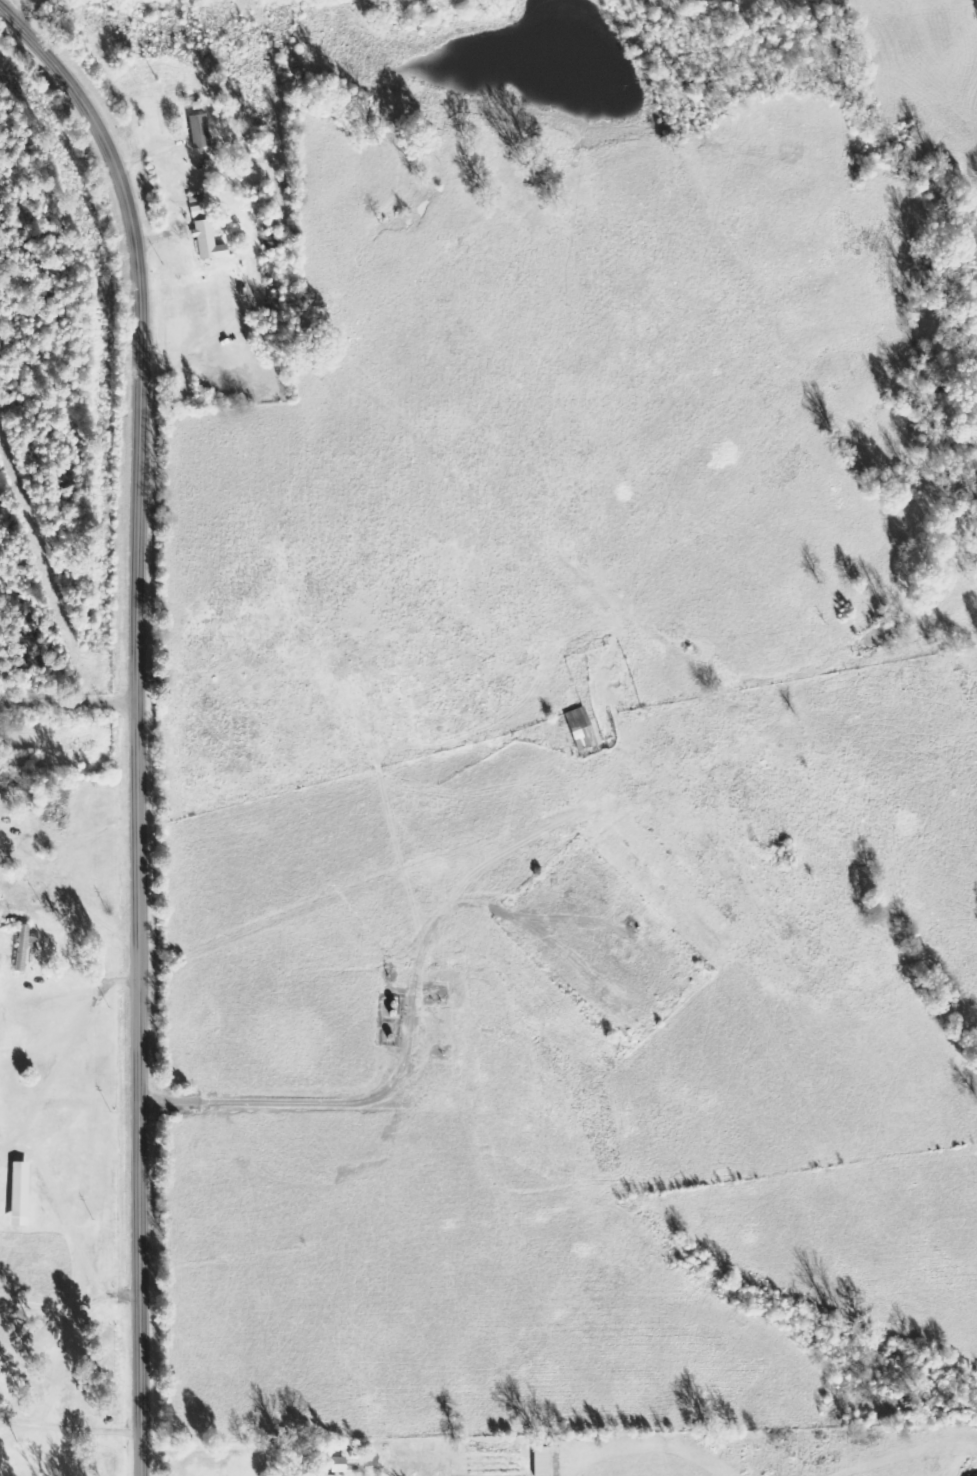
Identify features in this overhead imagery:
road: (14, 5)
building: (199, 130)
building: (207, 241)
road: (134, 720)
building: (580, 729)
building: (18, 1193)
road: (69, 1309)
road: (69, 1427)
road: (376, 1462)
building: (337, 1464)
building: (317, 1475)

